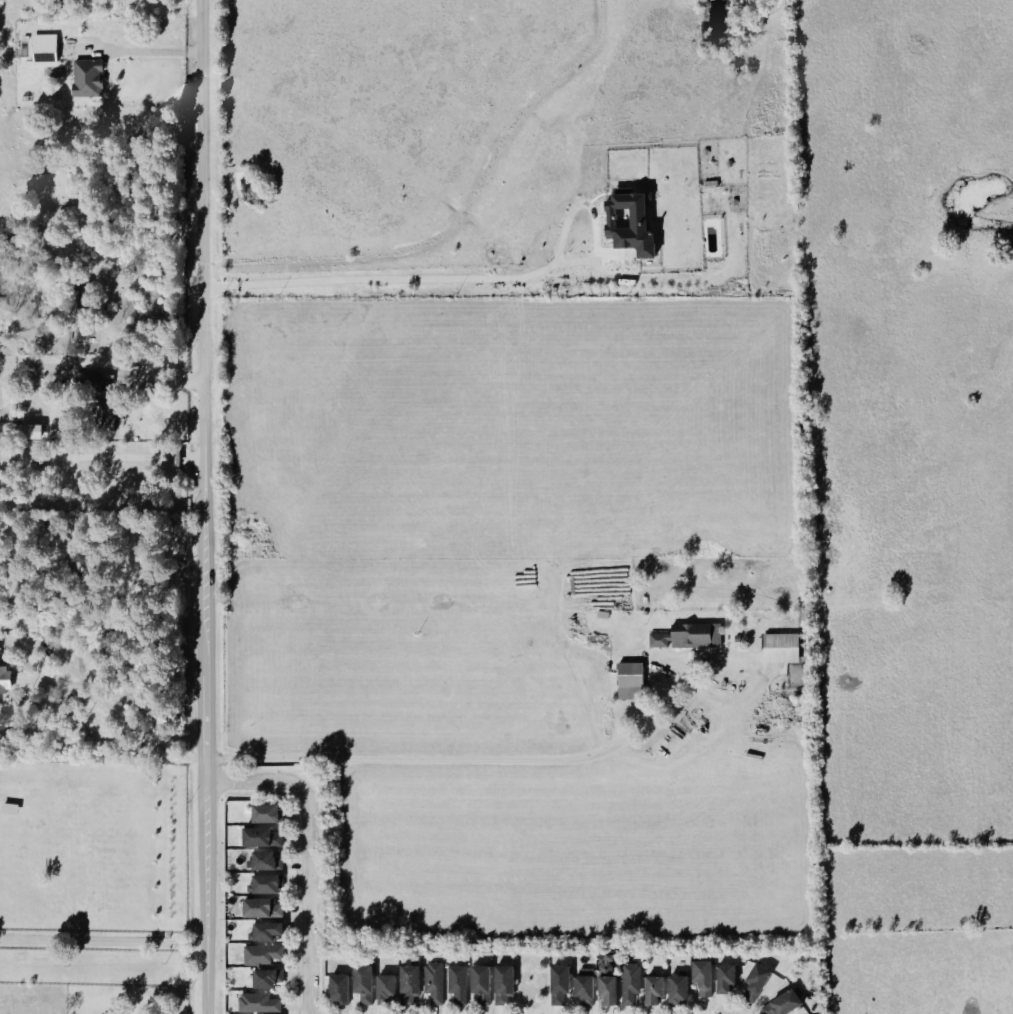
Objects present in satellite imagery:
building: (44, 48)
road: (138, 51)
building: (88, 78)
building: (629, 223)
road: (401, 280)
road: (104, 370)
building: (88, 380)
building: (107, 421)
road: (104, 458)
road: (207, 471)
building: (696, 636)
building: (659, 641)
building: (782, 648)
building: (5, 680)
building: (630, 680)
road: (122, 719)
road: (456, 760)
road: (254, 780)
building: (266, 812)
building: (261, 837)
building: (265, 861)
building: (266, 883)
road: (310, 899)
building: (262, 907)
building: (267, 930)
road: (103, 940)
building: (262, 954)
building: (703, 976)
building: (267, 977)
building: (726, 977)
road: (207, 978)
building: (608, 979)
building: (757, 980)
building: (435, 982)
building: (631, 982)
building: (363, 983)
building: (410, 983)
building: (459, 983)
building: (482, 983)
building: (504, 983)
building: (560, 983)
building: (585, 986)
building: (385, 987)
building: (338, 988)
building: (678, 988)
building: (654, 989)
building: (259, 1003)
building: (782, 1003)

